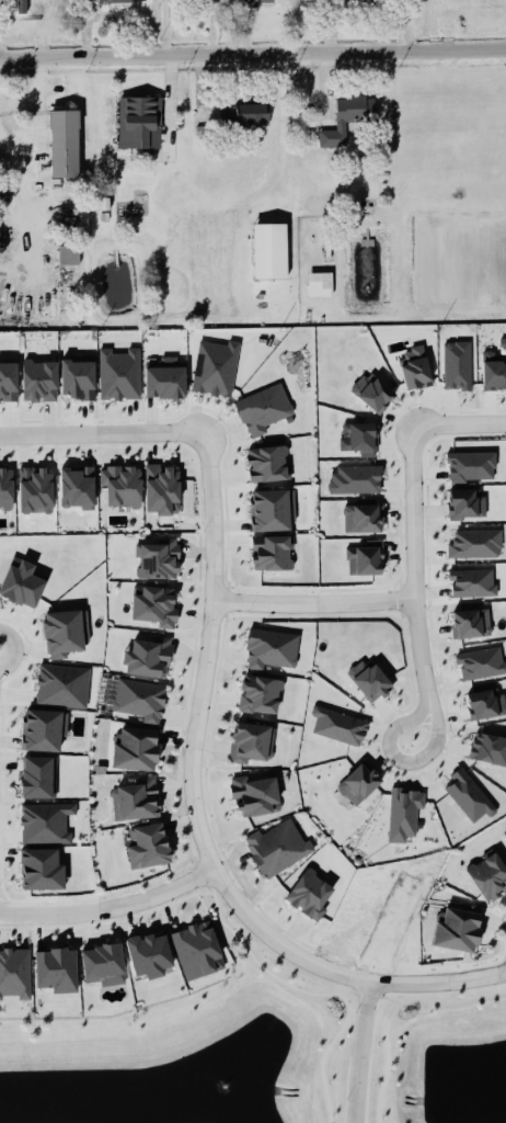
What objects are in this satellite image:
building: (118, 2)
building: (257, 2)
road: (365, 5)
building: (33, 8)
road: (253, 55)
road: (33, 88)
building: (253, 115)
building: (345, 122)
building: (140, 124)
road: (32, 129)
building: (202, 133)
building: (65, 144)
road: (283, 145)
building: (104, 204)
building: (269, 252)
building: (68, 256)
building: (318, 286)
building: (458, 366)
building: (416, 368)
building: (494, 372)
building: (120, 375)
building: (78, 377)
building: (166, 381)
building: (9, 383)
building: (41, 383)
building: (373, 393)
building: (264, 410)
road: (459, 423)
road: (103, 434)
building: (359, 440)
building: (268, 464)
building: (472, 467)
building: (356, 480)
building: (79, 485)
building: (123, 487)
building: (7, 489)
building: (37, 489)
building: (162, 489)
building: (467, 504)
building: (272, 511)
building: (364, 520)
building: (475, 545)
building: (273, 554)
building: (366, 559)
building: (159, 560)
building: (23, 585)
building: (473, 585)
road: (313, 604)
building: (156, 606)
building: (472, 624)
building: (64, 634)
road: (418, 645)
building: (273, 650)
building: (149, 658)
building: (481, 663)
building: (370, 680)
building: (61, 687)
building: (262, 695)
road: (200, 700)
building: (140, 701)
building: (487, 704)
building: (340, 727)
building: (43, 731)
building: (251, 742)
building: (137, 750)
building: (488, 750)
building: (99, 770)
building: (37, 778)
building: (360, 785)
building: (256, 796)
building: (470, 797)
building: (136, 801)
building: (404, 815)
building: (46, 824)
building: (149, 847)
building: (278, 849)
building: (43, 870)
building: (490, 875)
road: (209, 889)
building: (311, 896)
road: (110, 908)
building: (459, 931)
building: (198, 952)
building: (150, 956)
building: (104, 965)
road: (258, 965)
building: (57, 971)
building: (15, 974)
road: (386, 985)
road: (346, 992)
road: (368, 996)
road: (391, 998)
road: (453, 1006)
road: (360, 1053)
road: (324, 1055)
park: (438, 1057)
road: (387, 1059)

